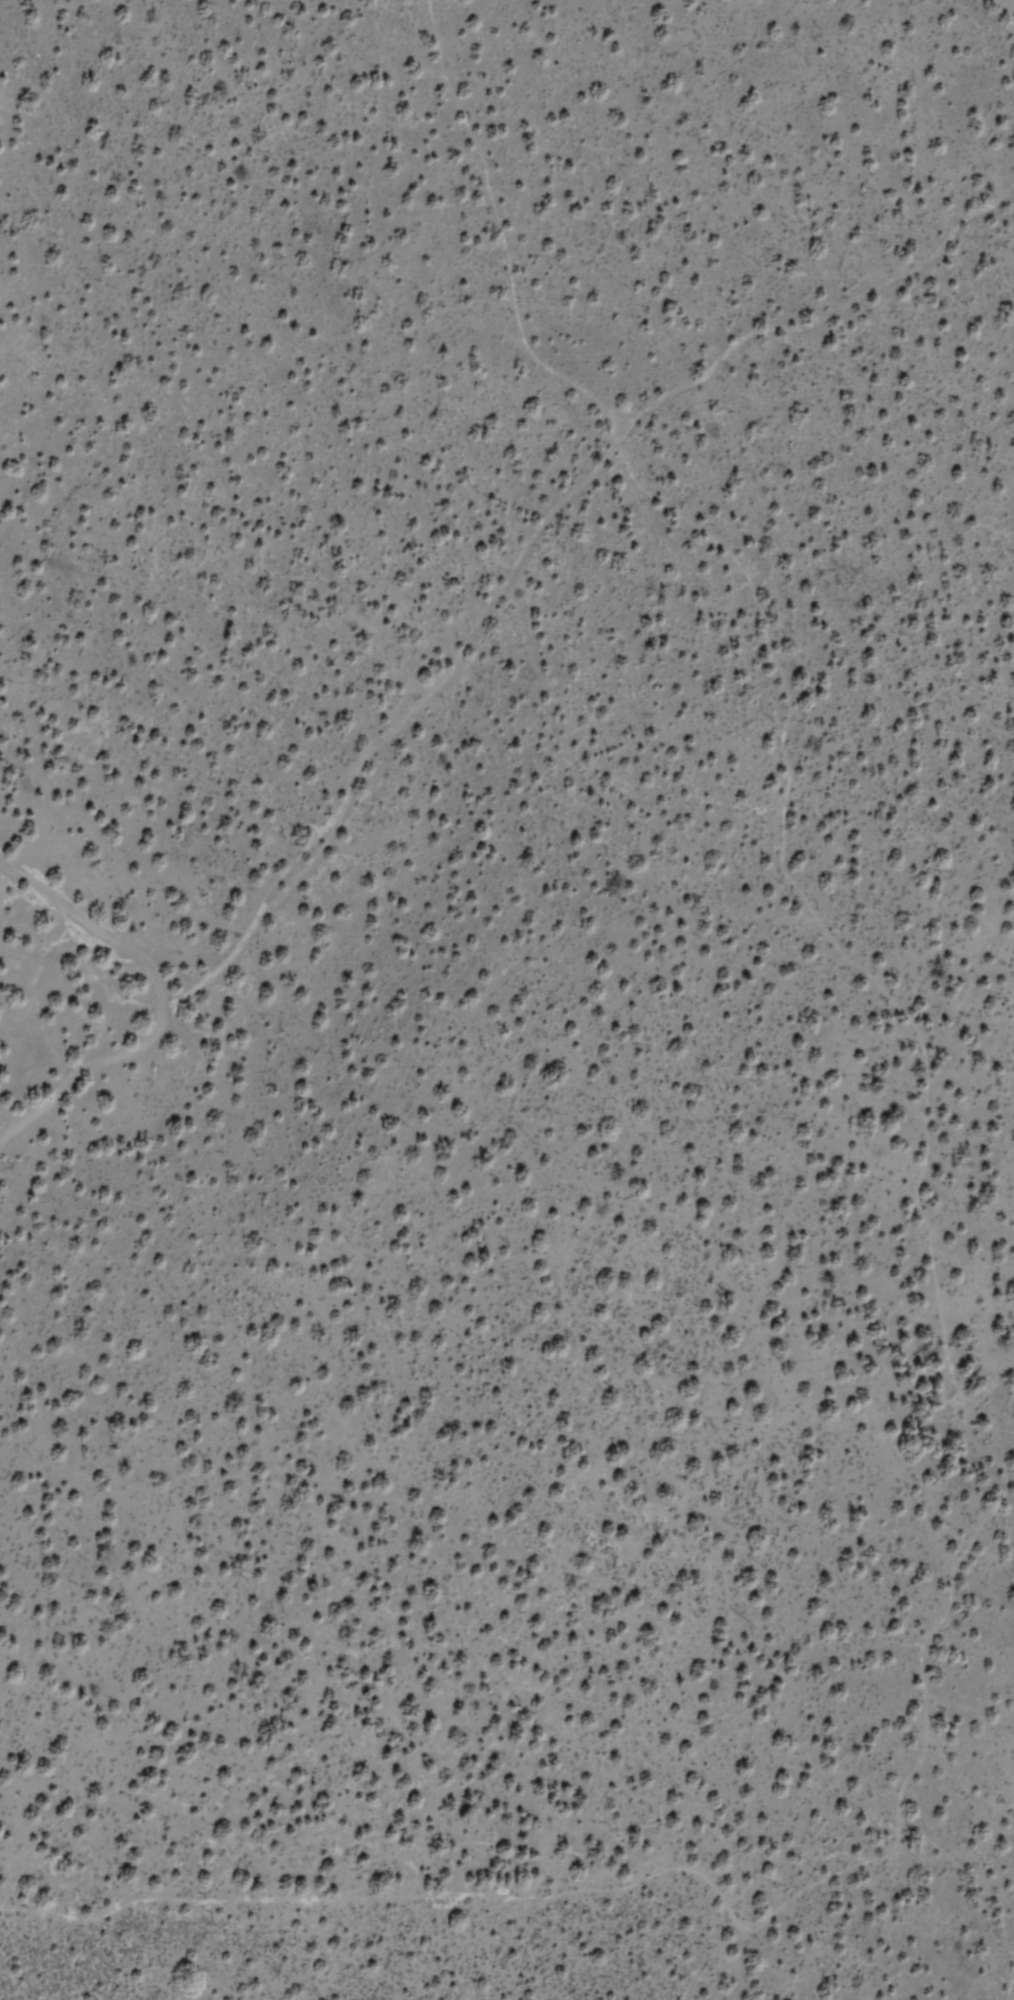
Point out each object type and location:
road: (454, 610)

